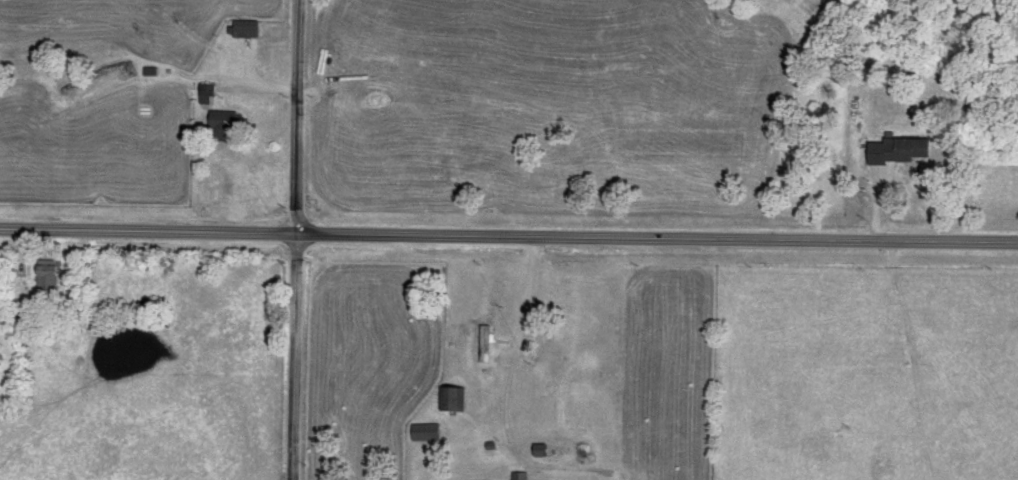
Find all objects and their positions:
building: (246, 41)
building: (204, 95)
building: (221, 127)
building: (676, 143)
building: (903, 150)
road: (509, 237)
road: (293, 239)
building: (44, 278)
building: (482, 342)
building: (449, 398)
building: (422, 432)
building: (538, 450)
building: (517, 475)

